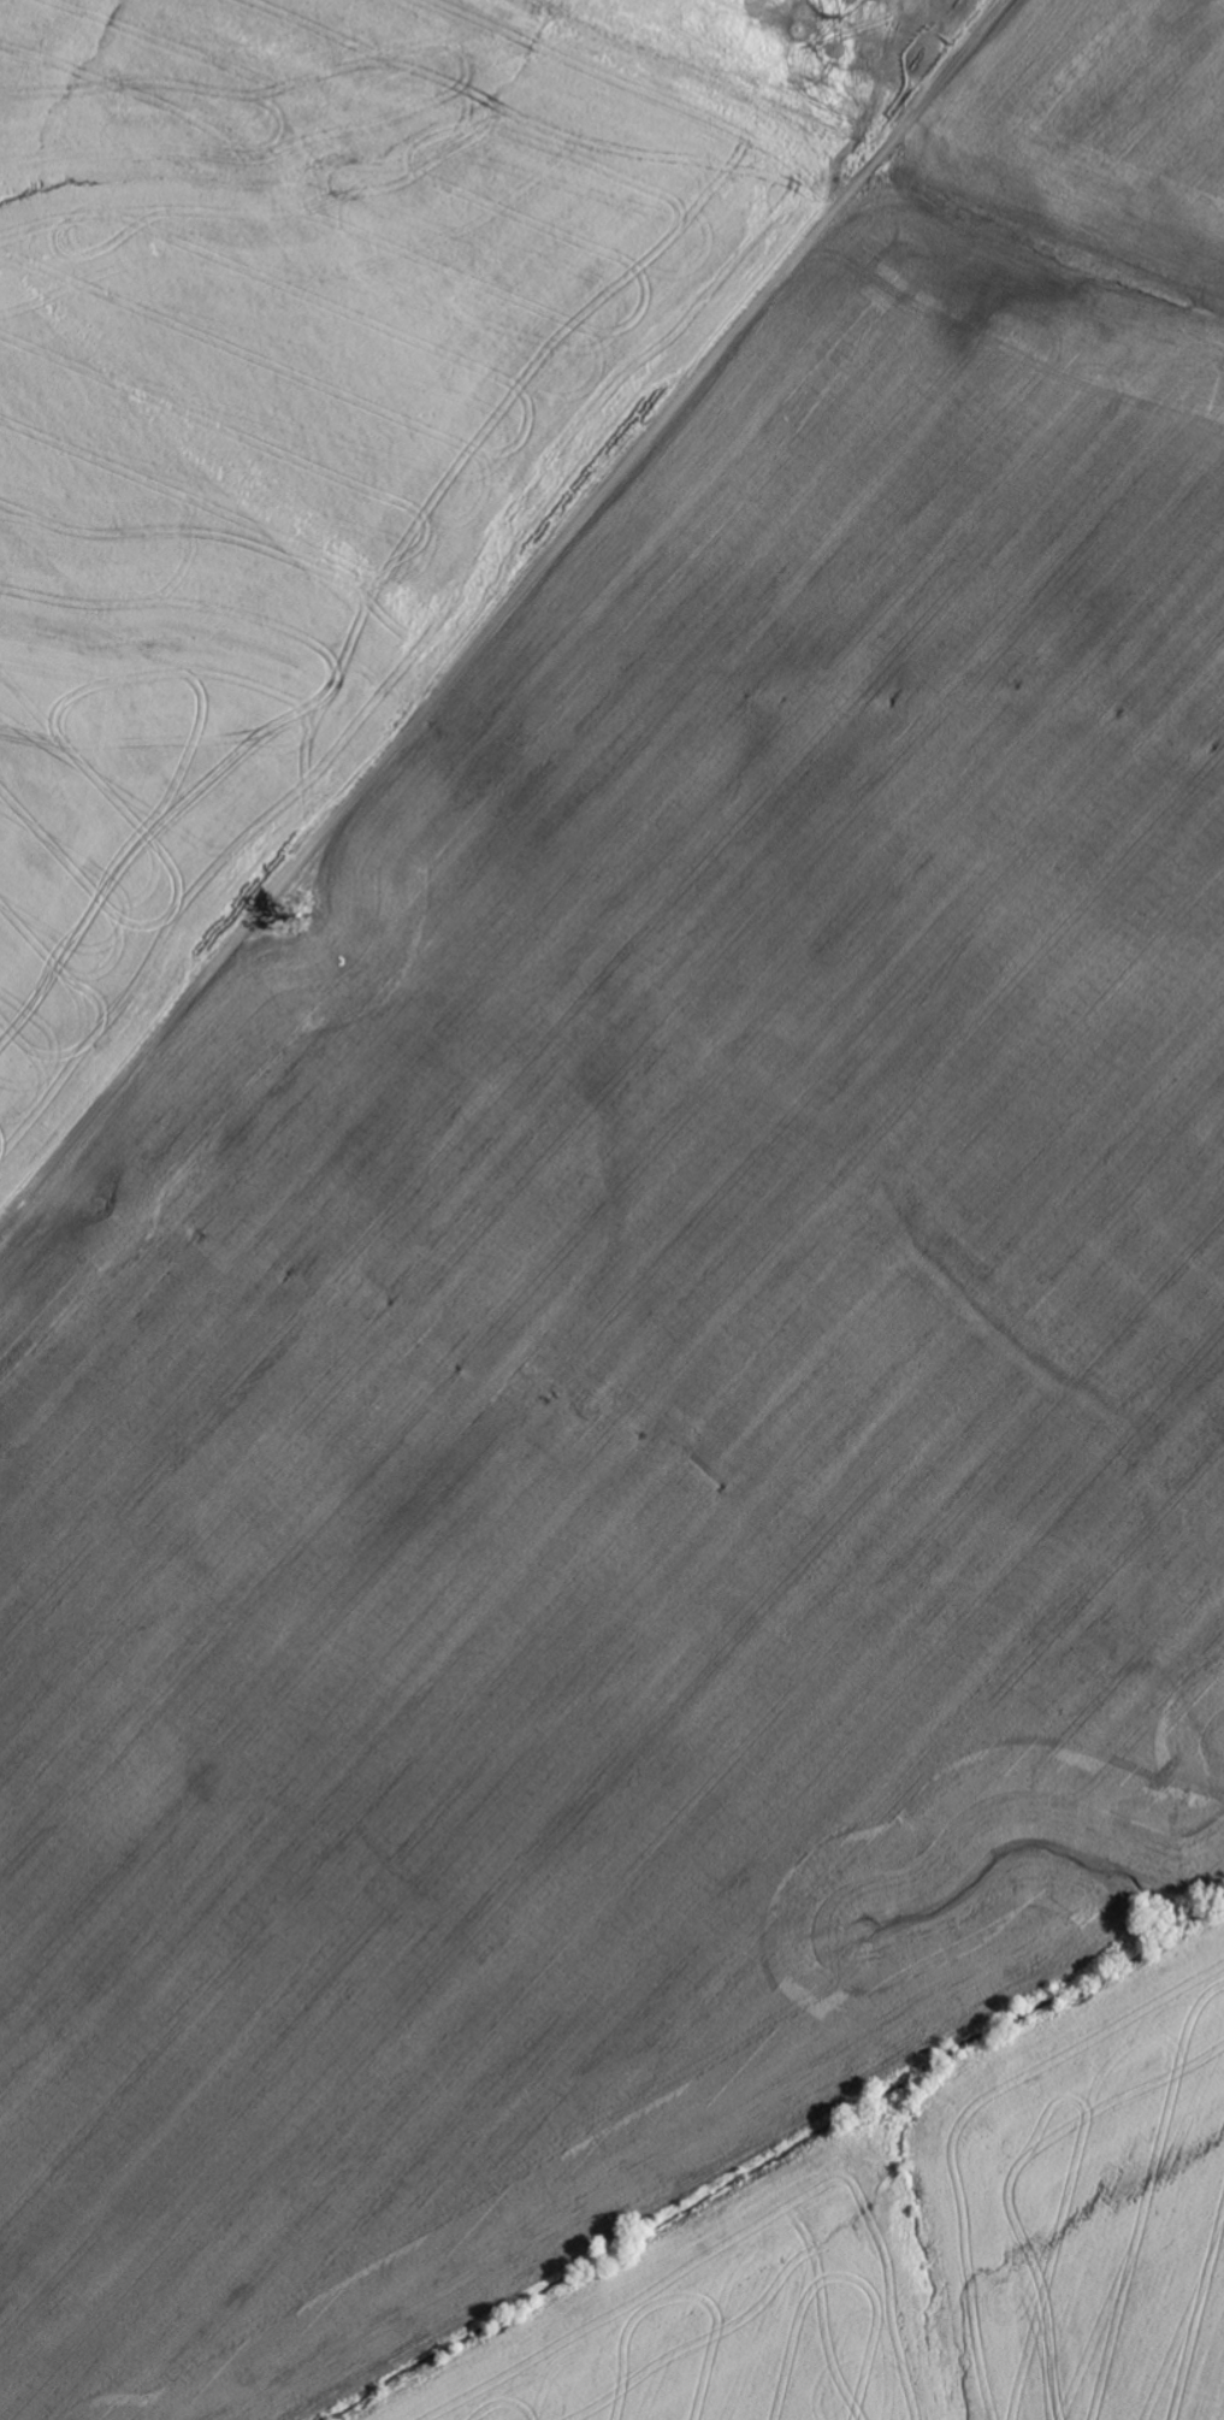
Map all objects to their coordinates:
road: (515, 610)

